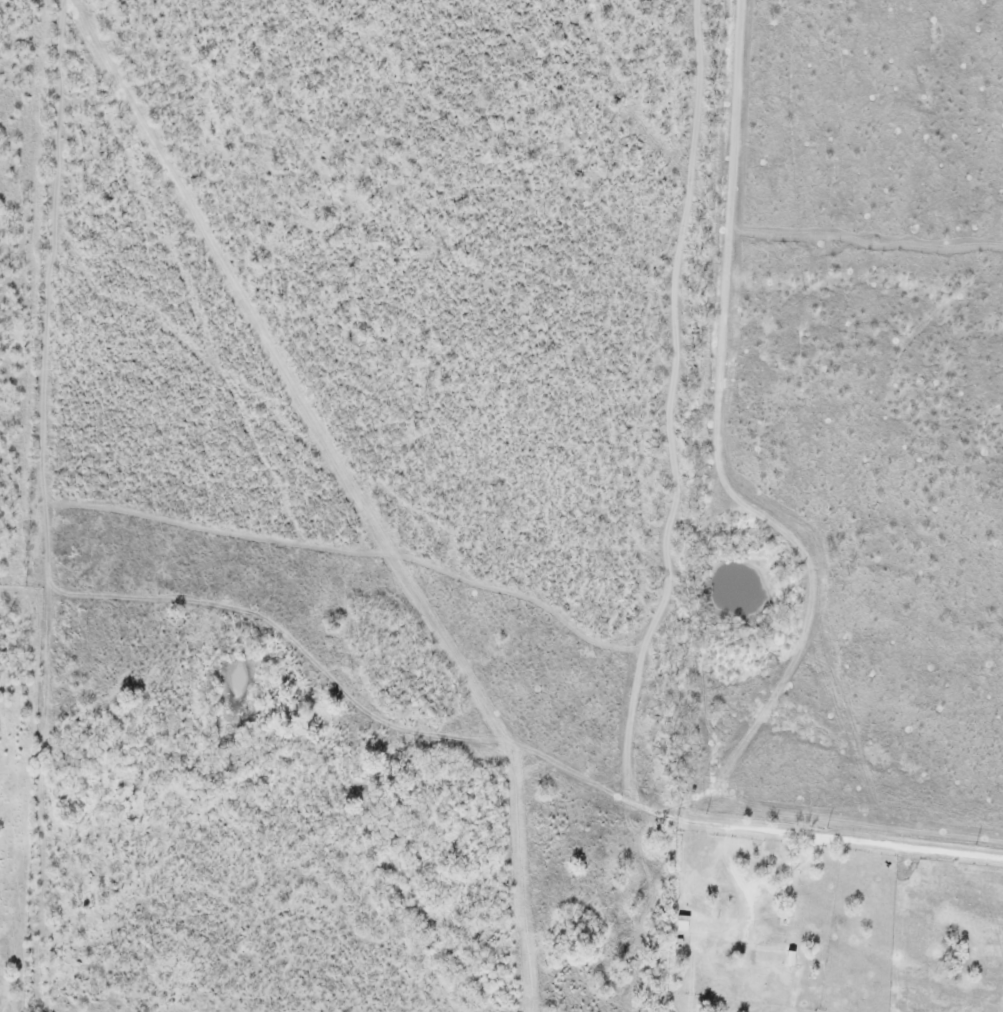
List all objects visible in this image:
building: (692, 896)

